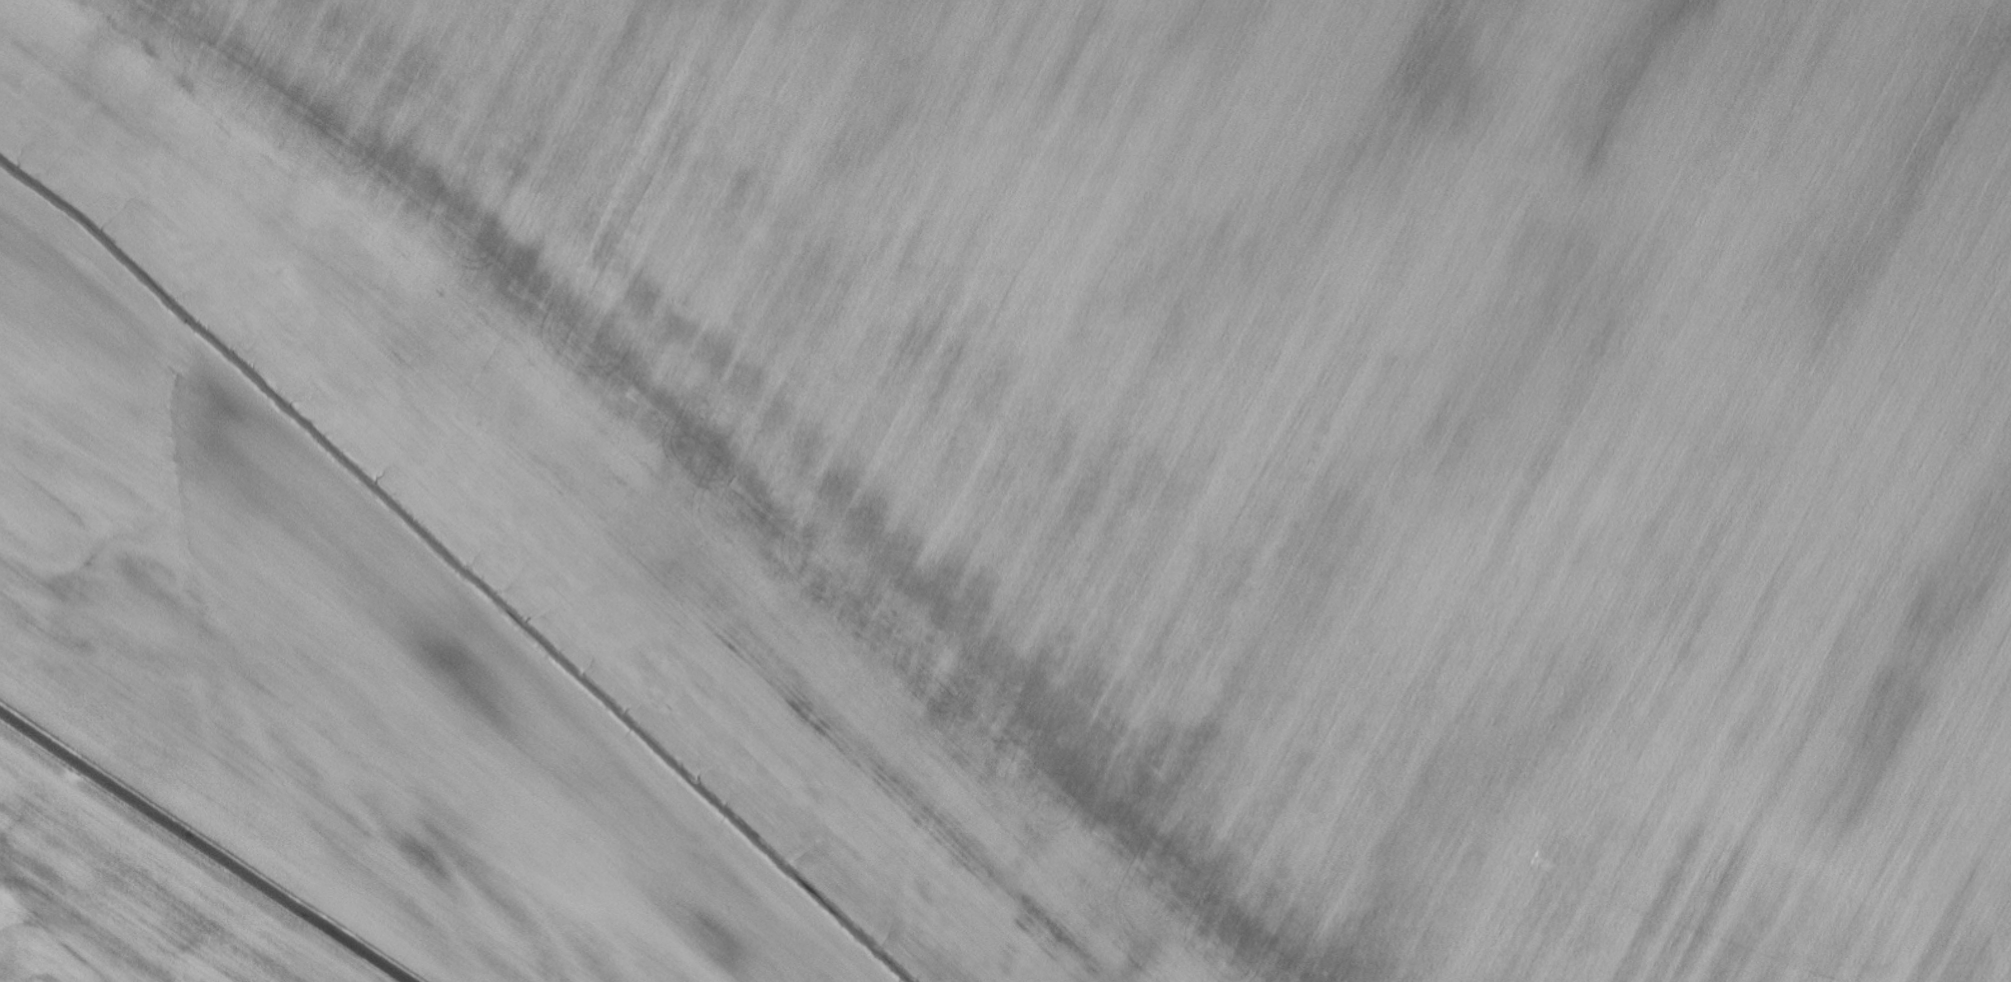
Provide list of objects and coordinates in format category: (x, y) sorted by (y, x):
road: (204, 846)

